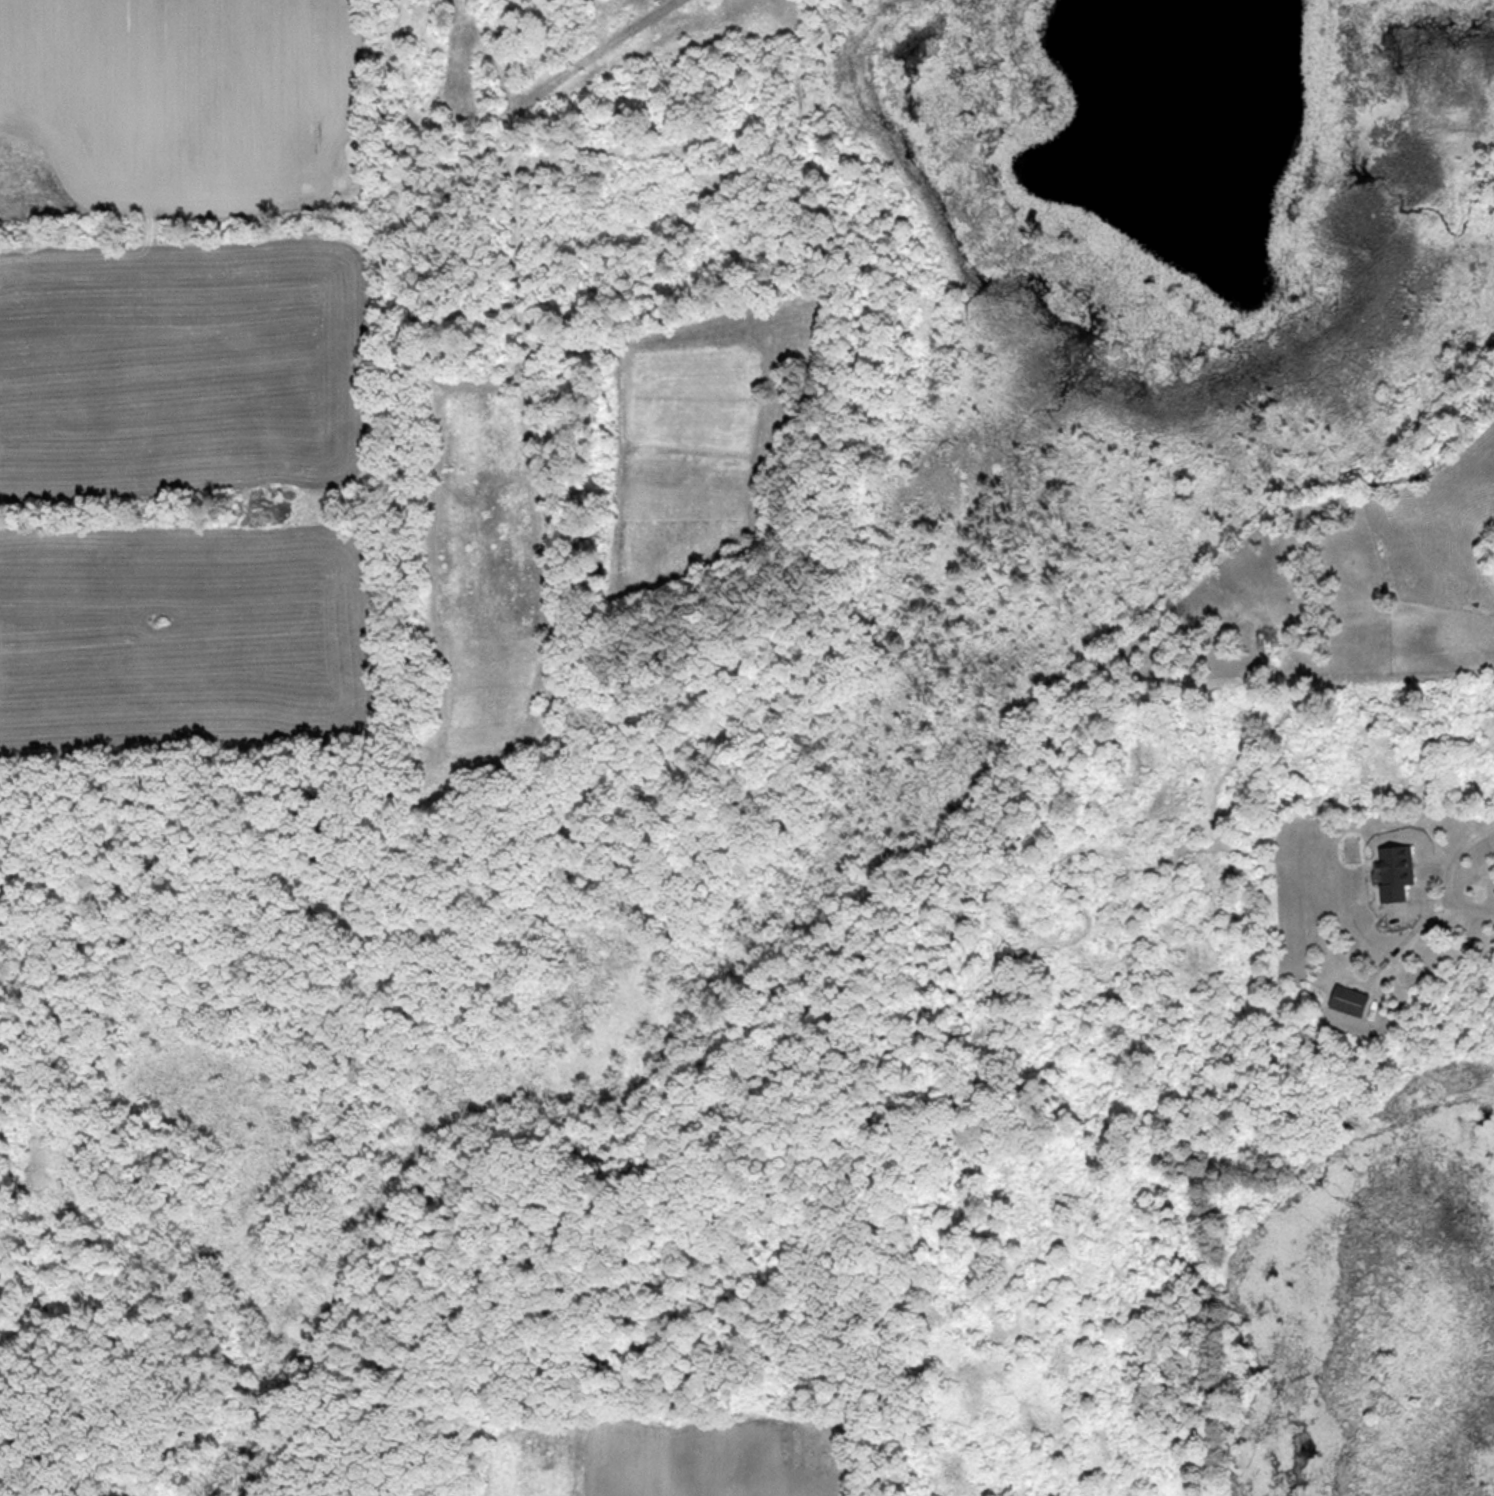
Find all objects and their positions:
building: (1398, 872)
road: (1446, 876)
building: (1351, 1000)

